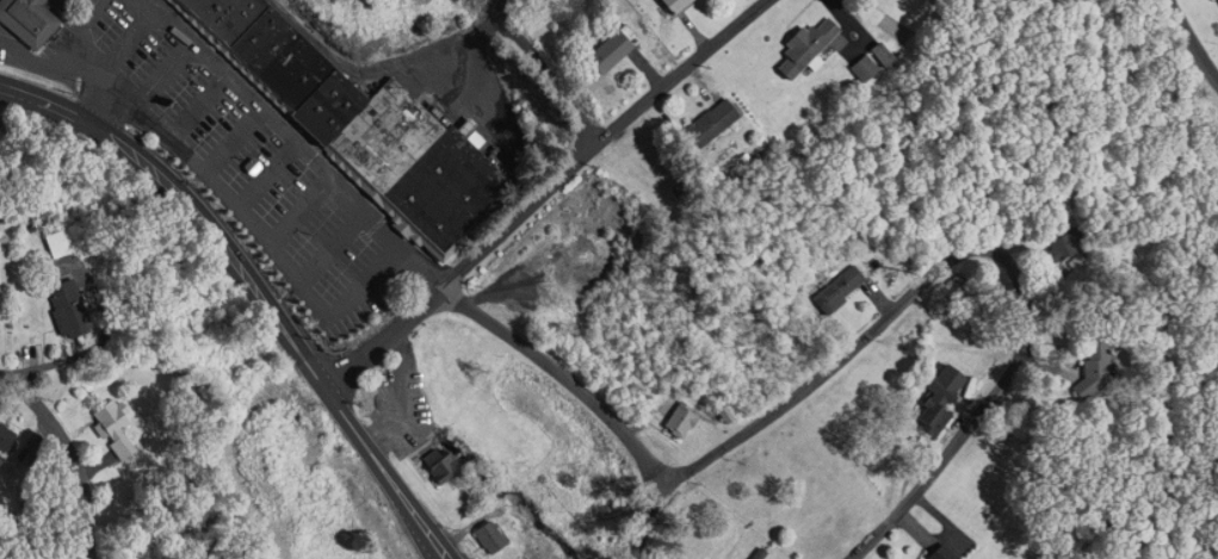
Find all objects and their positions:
building: (674, 4)
building: (221, 13)
building: (32, 19)
road: (1195, 36)
building: (805, 45)
building: (610, 49)
building: (882, 50)
building: (276, 52)
building: (863, 66)
building: (323, 105)
building: (710, 119)
building: (383, 133)
building: (443, 186)
road: (548, 191)
road: (192, 204)
building: (63, 243)
building: (1069, 244)
road: (946, 267)
building: (835, 290)
building: (73, 308)
building: (1095, 359)
road: (568, 375)
building: (939, 397)
building: (679, 418)
building: (119, 423)
building: (10, 437)
road: (72, 453)
building: (438, 461)
road: (382, 474)
building: (489, 534)
building: (941, 552)
building: (895, 558)

